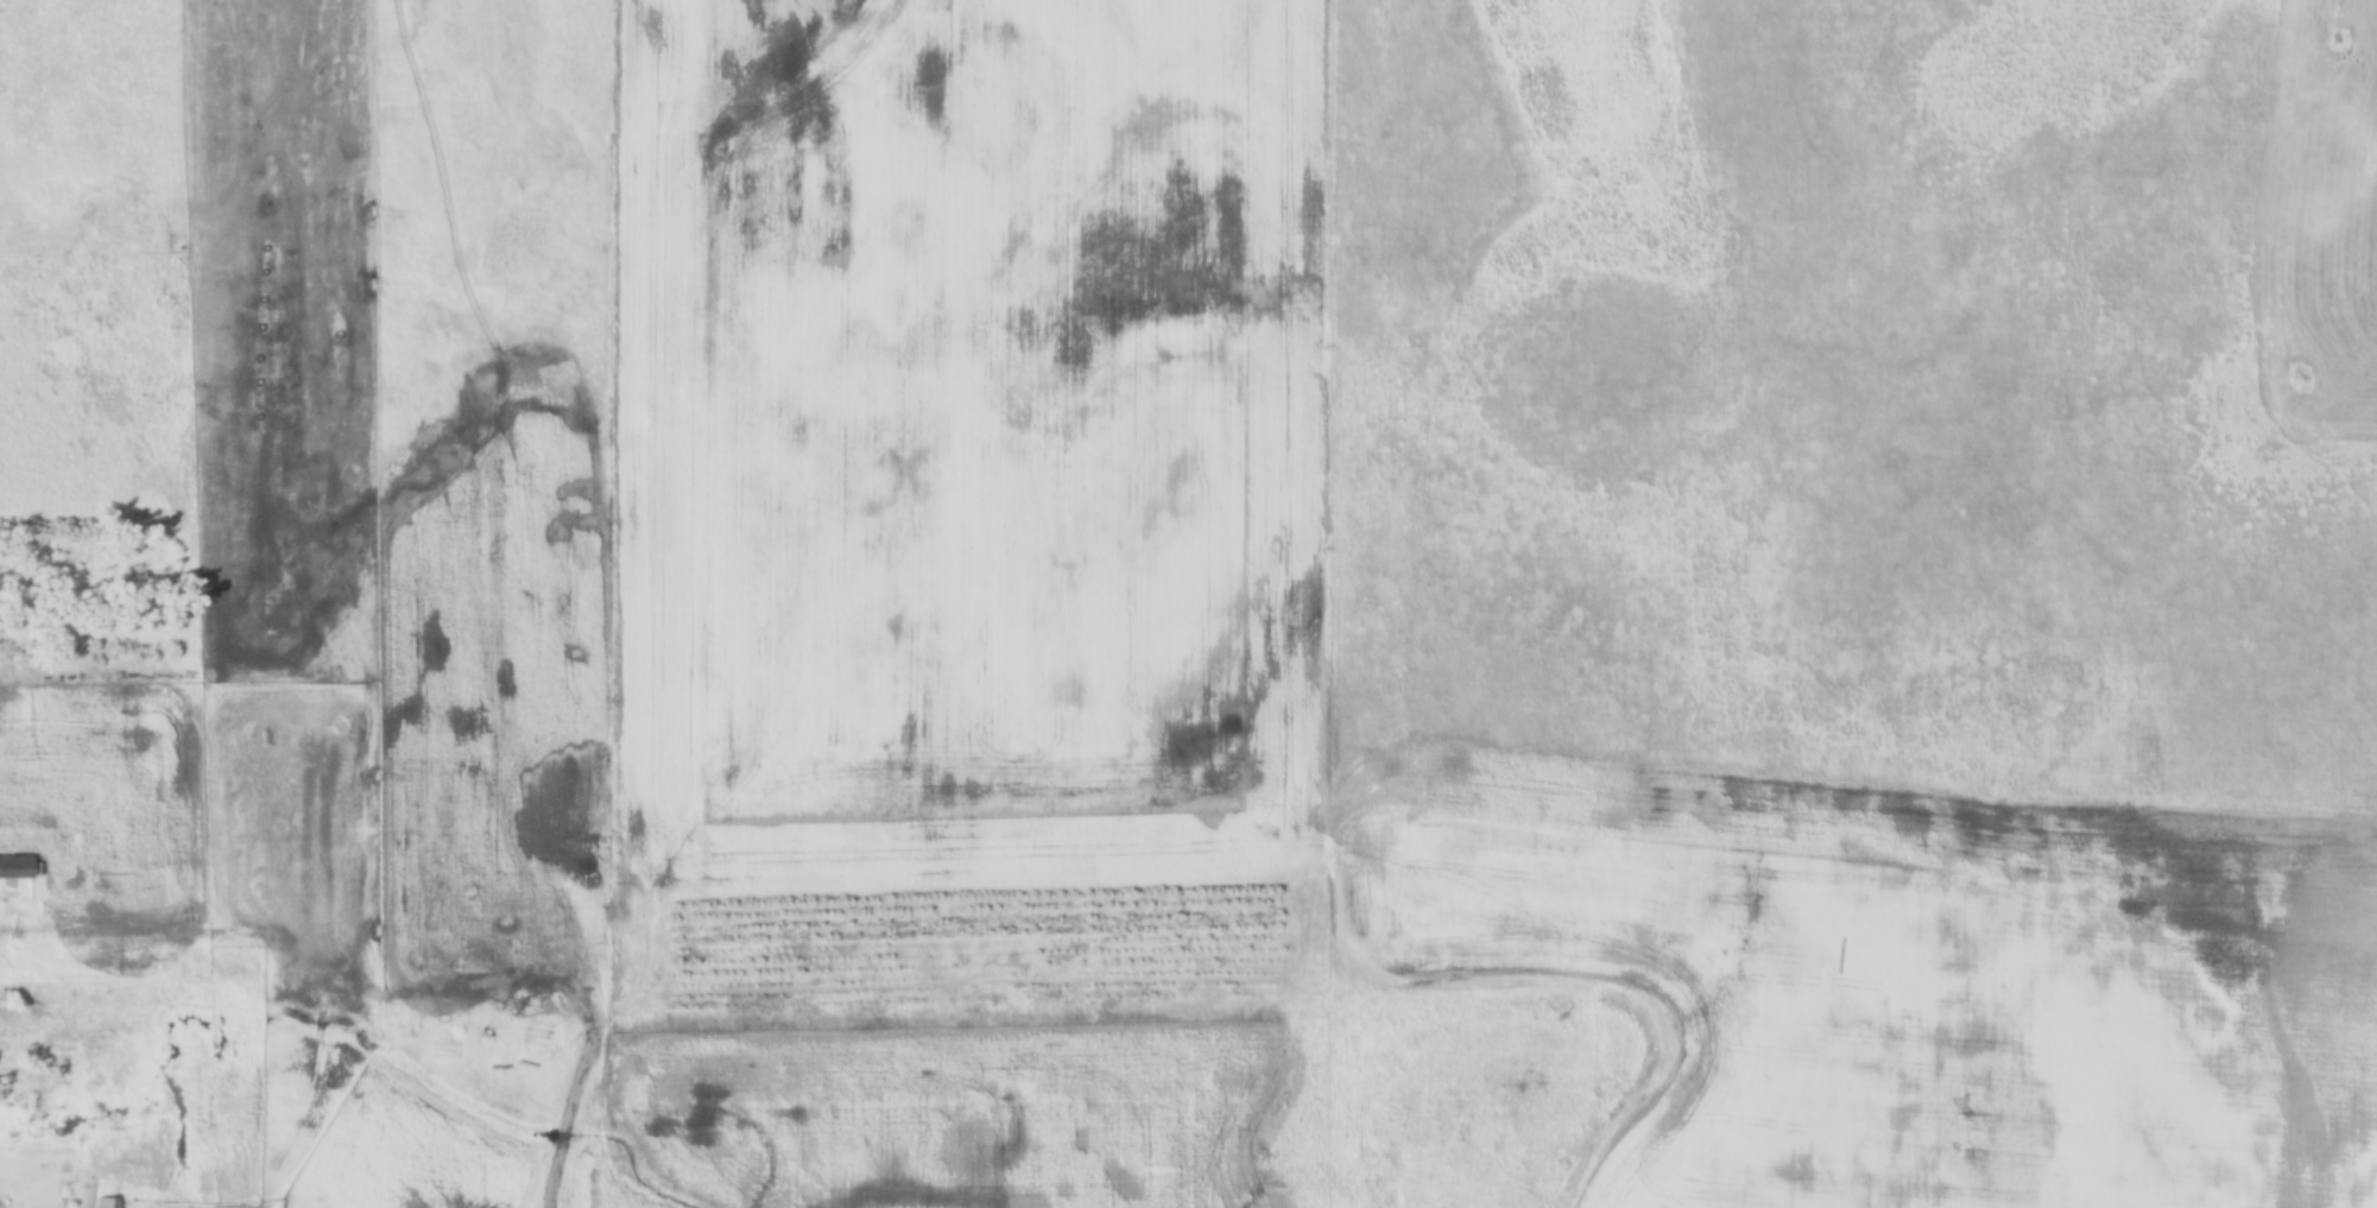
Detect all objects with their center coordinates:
building: (15, 868)
building: (107, 1203)

